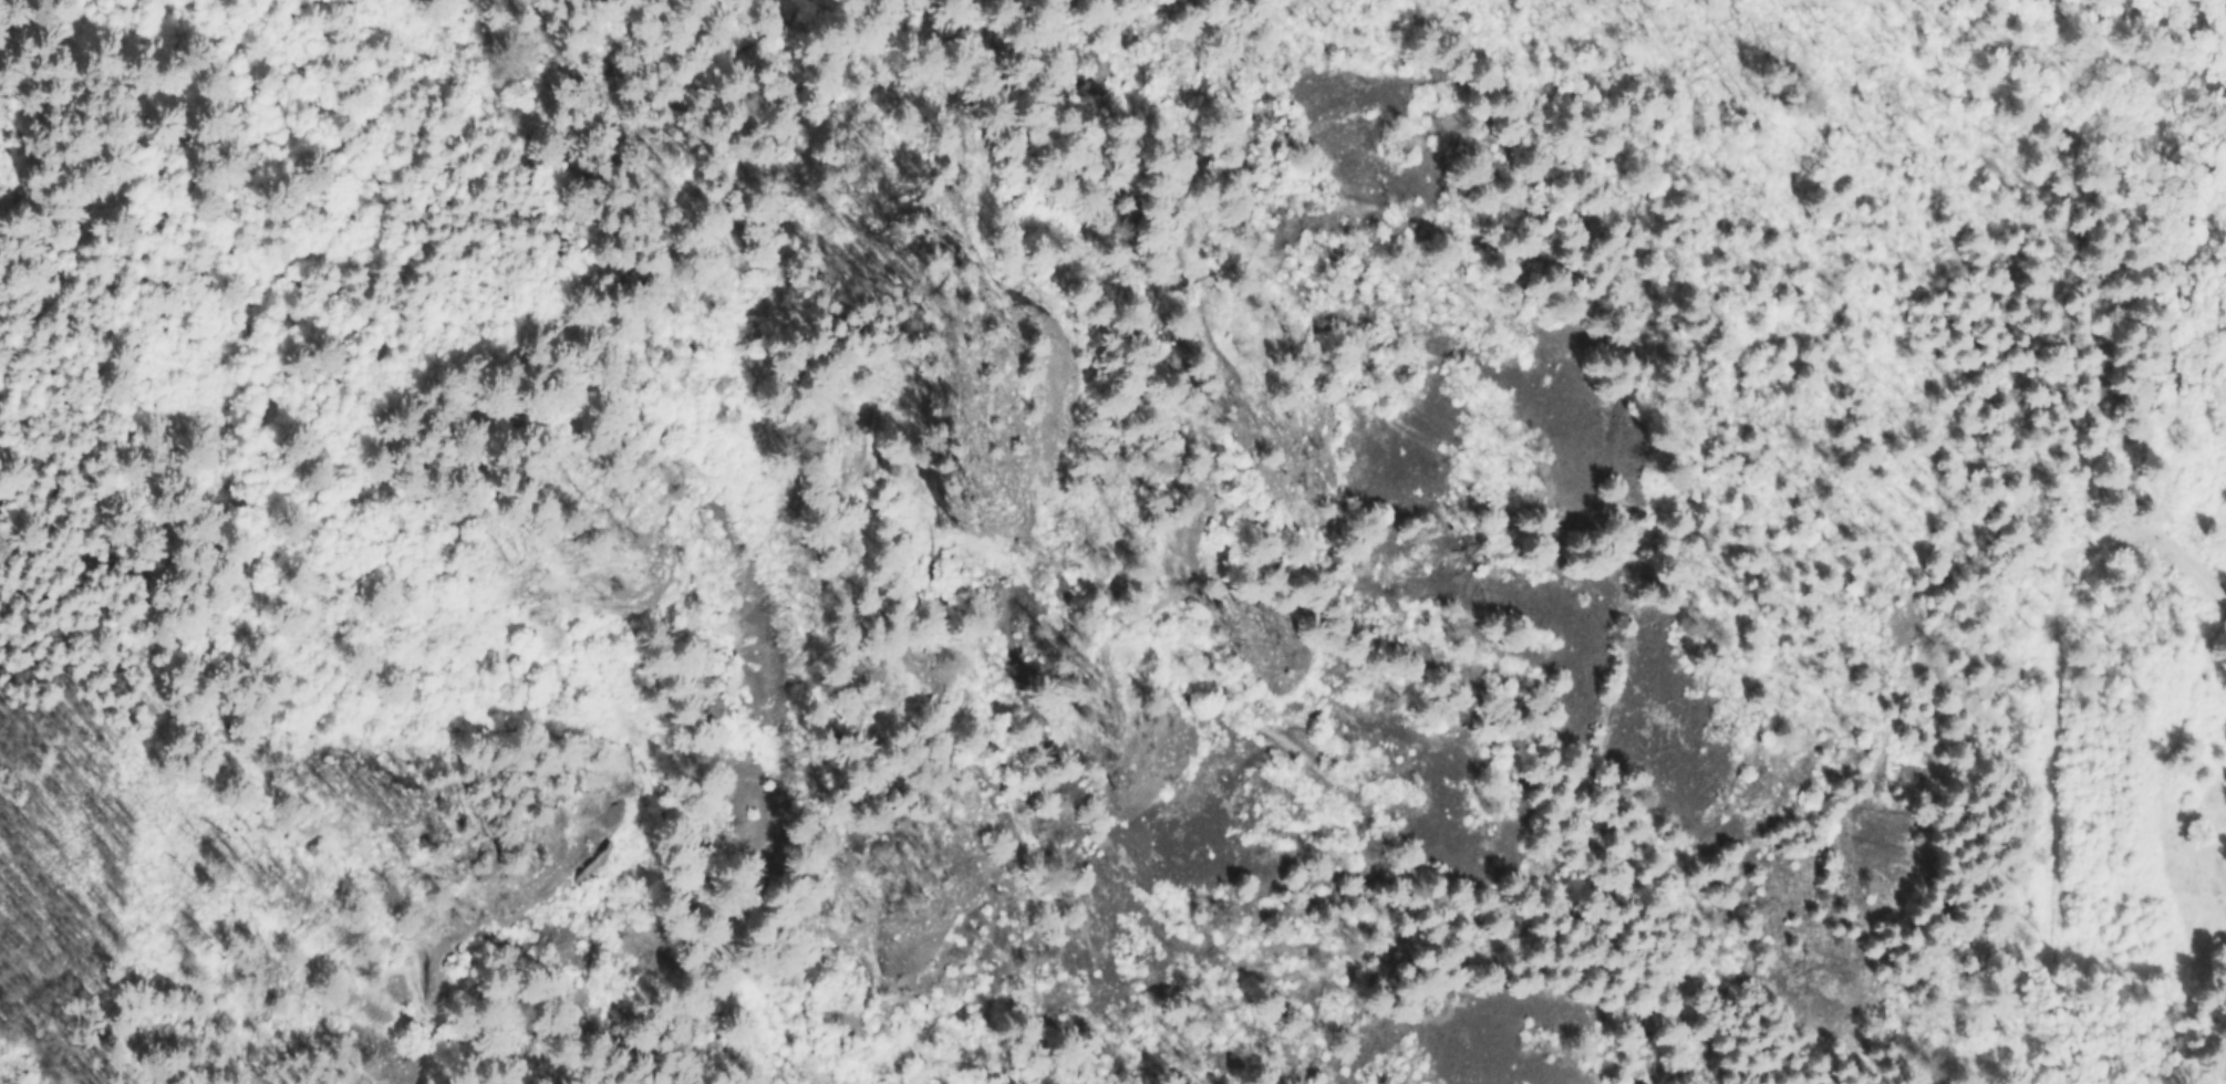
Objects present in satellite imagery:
road: (7, 6)
road: (643, 157)
road: (463, 267)
road: (953, 368)
road: (144, 606)

